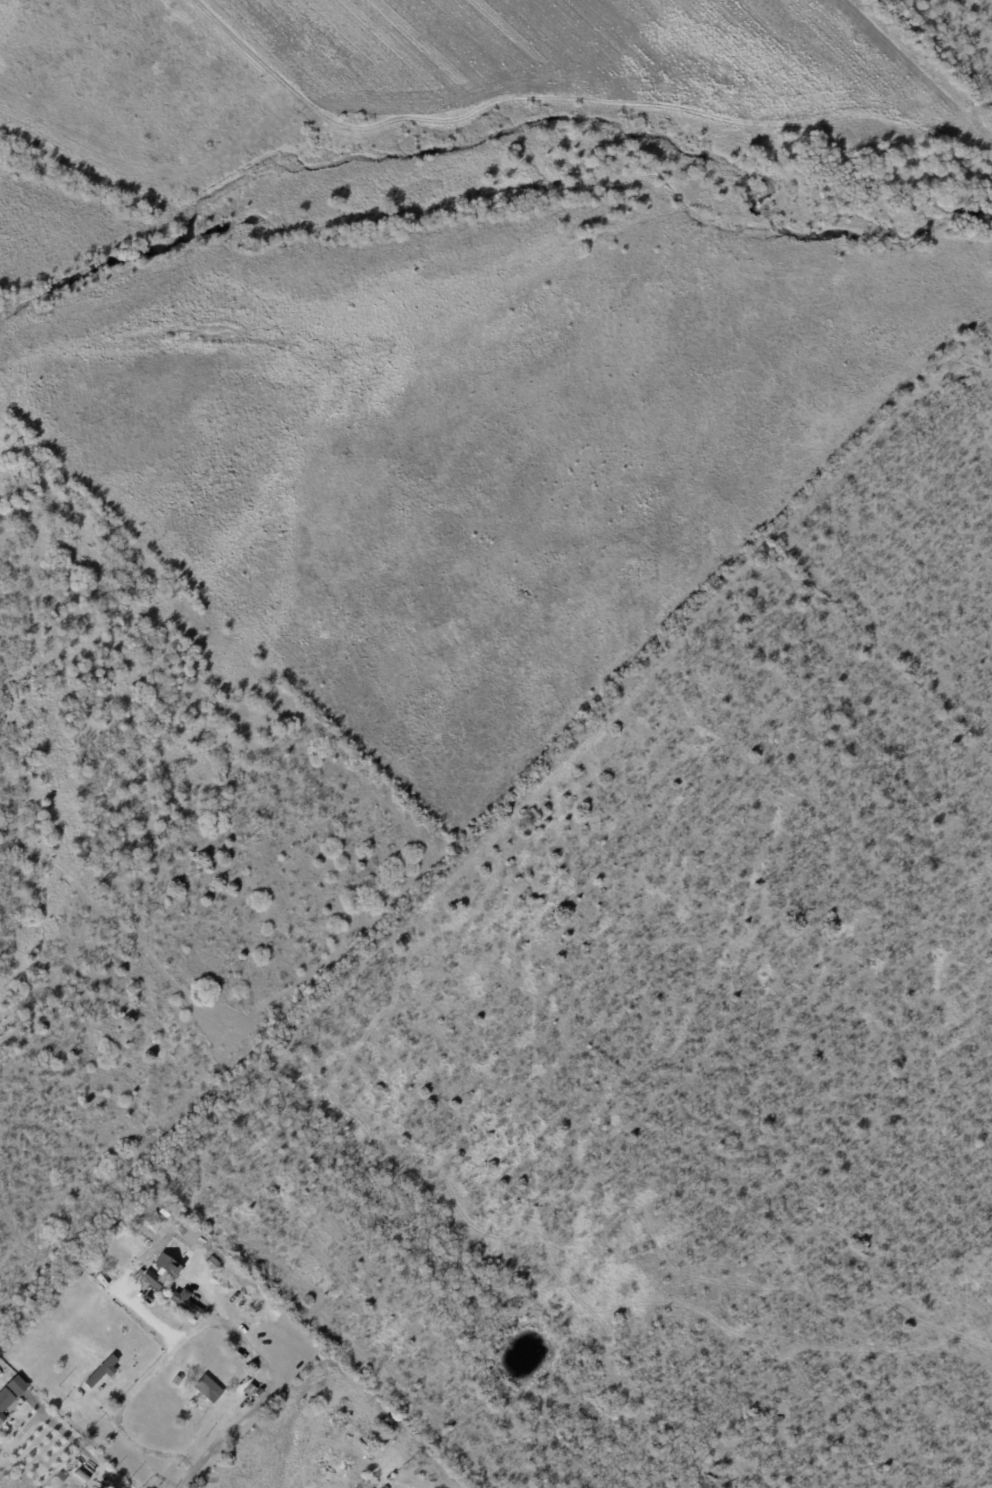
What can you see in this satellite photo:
building: (165, 1211)
building: (212, 1262)
building: (164, 1266)
building: (150, 1280)
building: (185, 1301)
building: (100, 1371)
road: (142, 1376)
building: (176, 1382)
building: (15, 1385)
building: (208, 1388)
building: (255, 1393)
building: (4, 1401)
road: (255, 1404)
building: (388, 1420)
road: (63, 1429)
building: (658, 1439)
road: (180, 1464)
road: (160, 1471)
building: (83, 1474)
building: (61, 1476)
building: (386, 1487)

